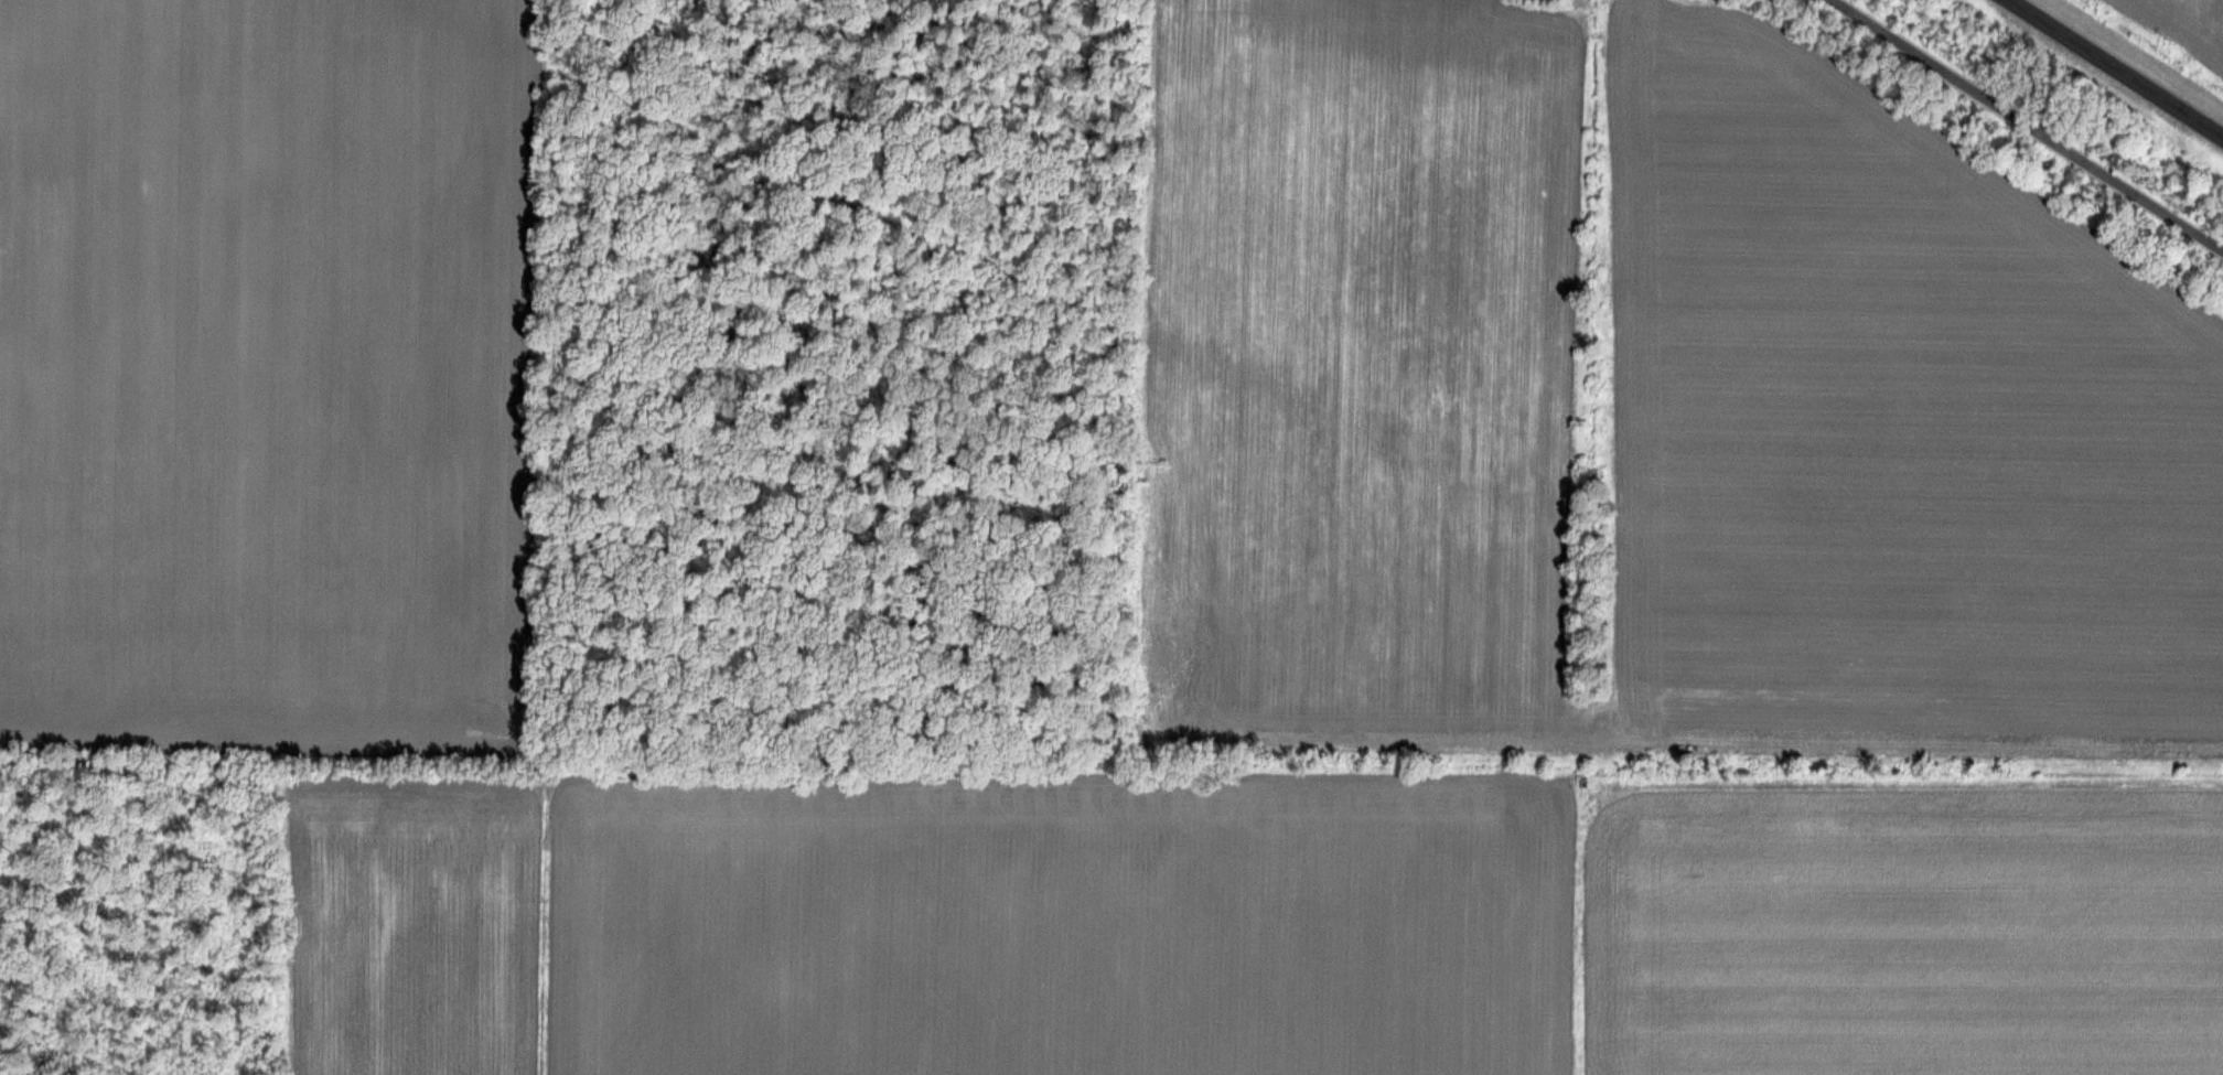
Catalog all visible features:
road: (2122, 65)
road: (2027, 126)

